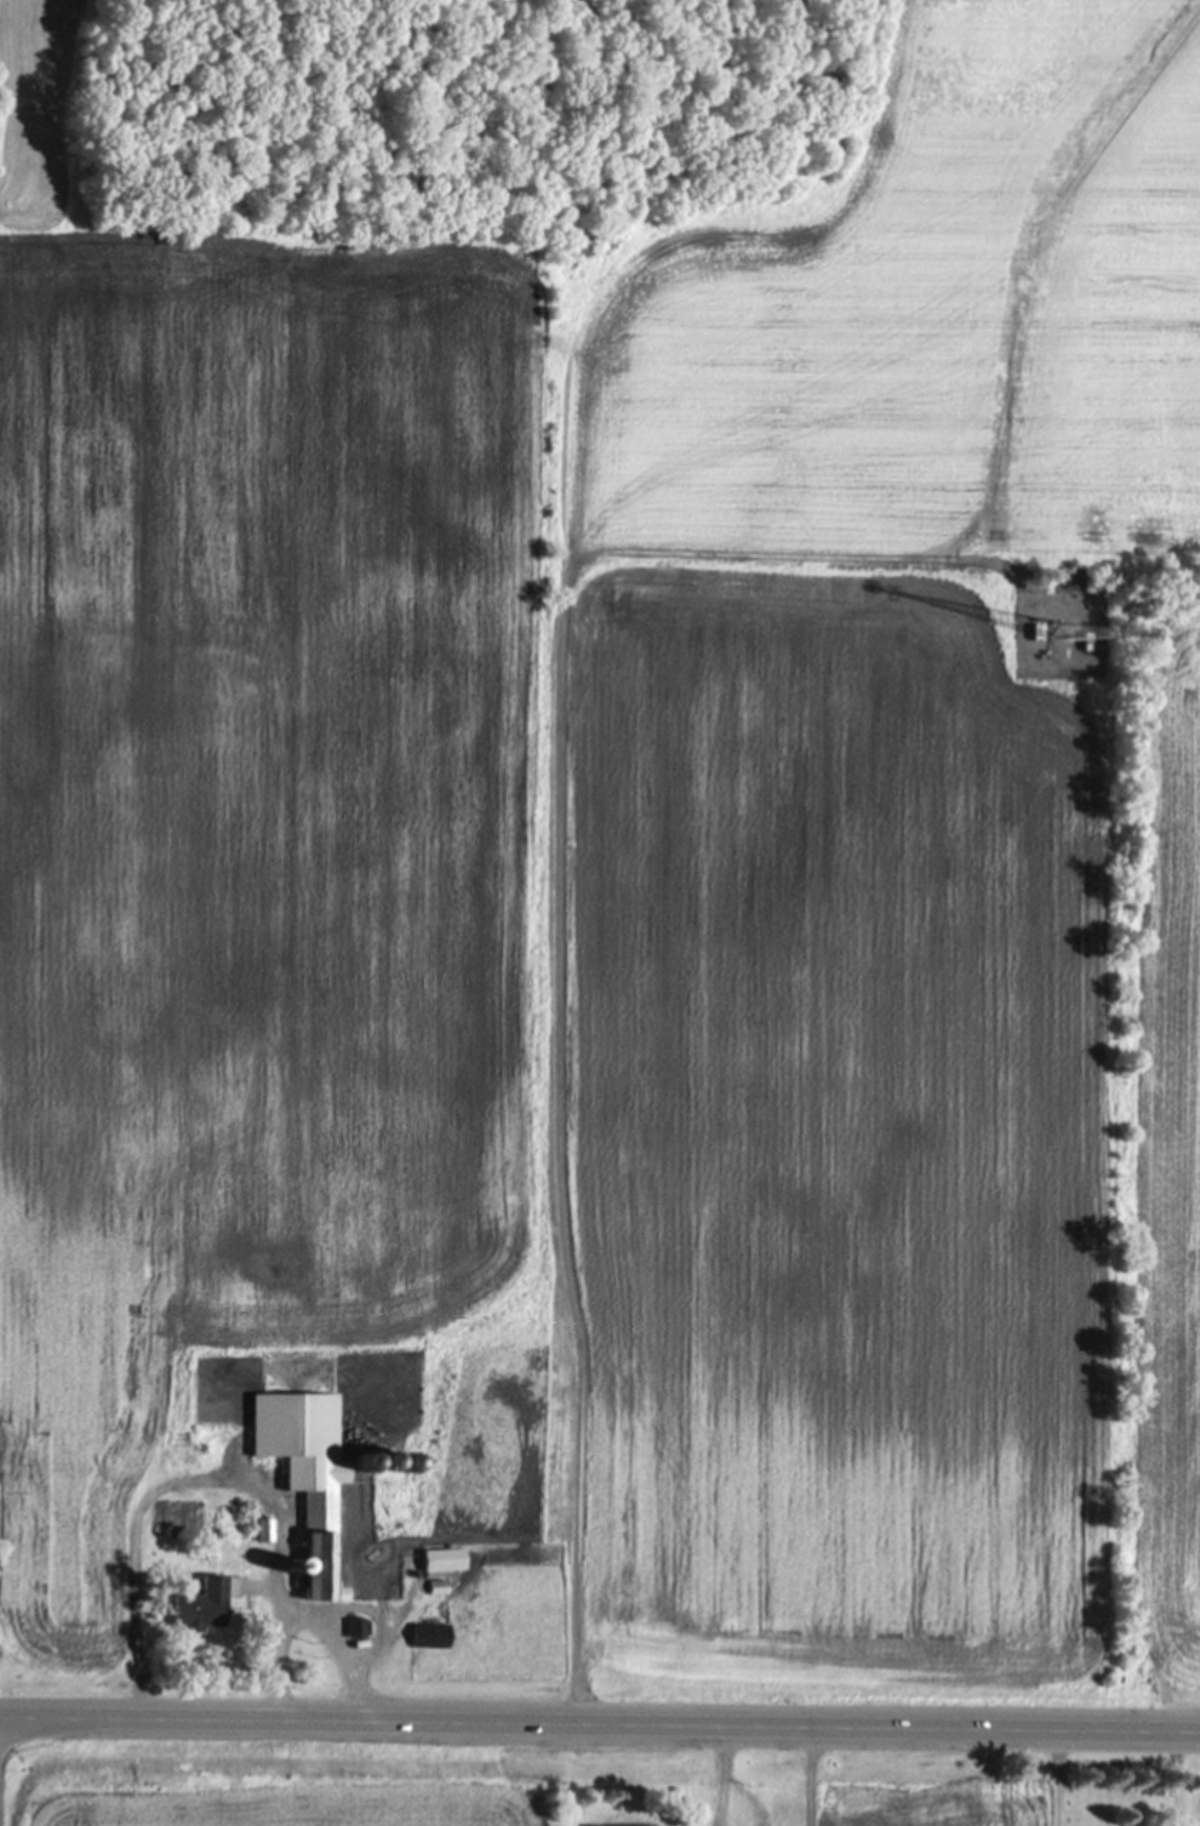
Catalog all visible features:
building: (309, 1478)
building: (446, 1562)
building: (440, 1590)
road: (316, 1605)
building: (205, 1608)
building: (358, 1631)
building: (433, 1638)
road: (599, 1719)

